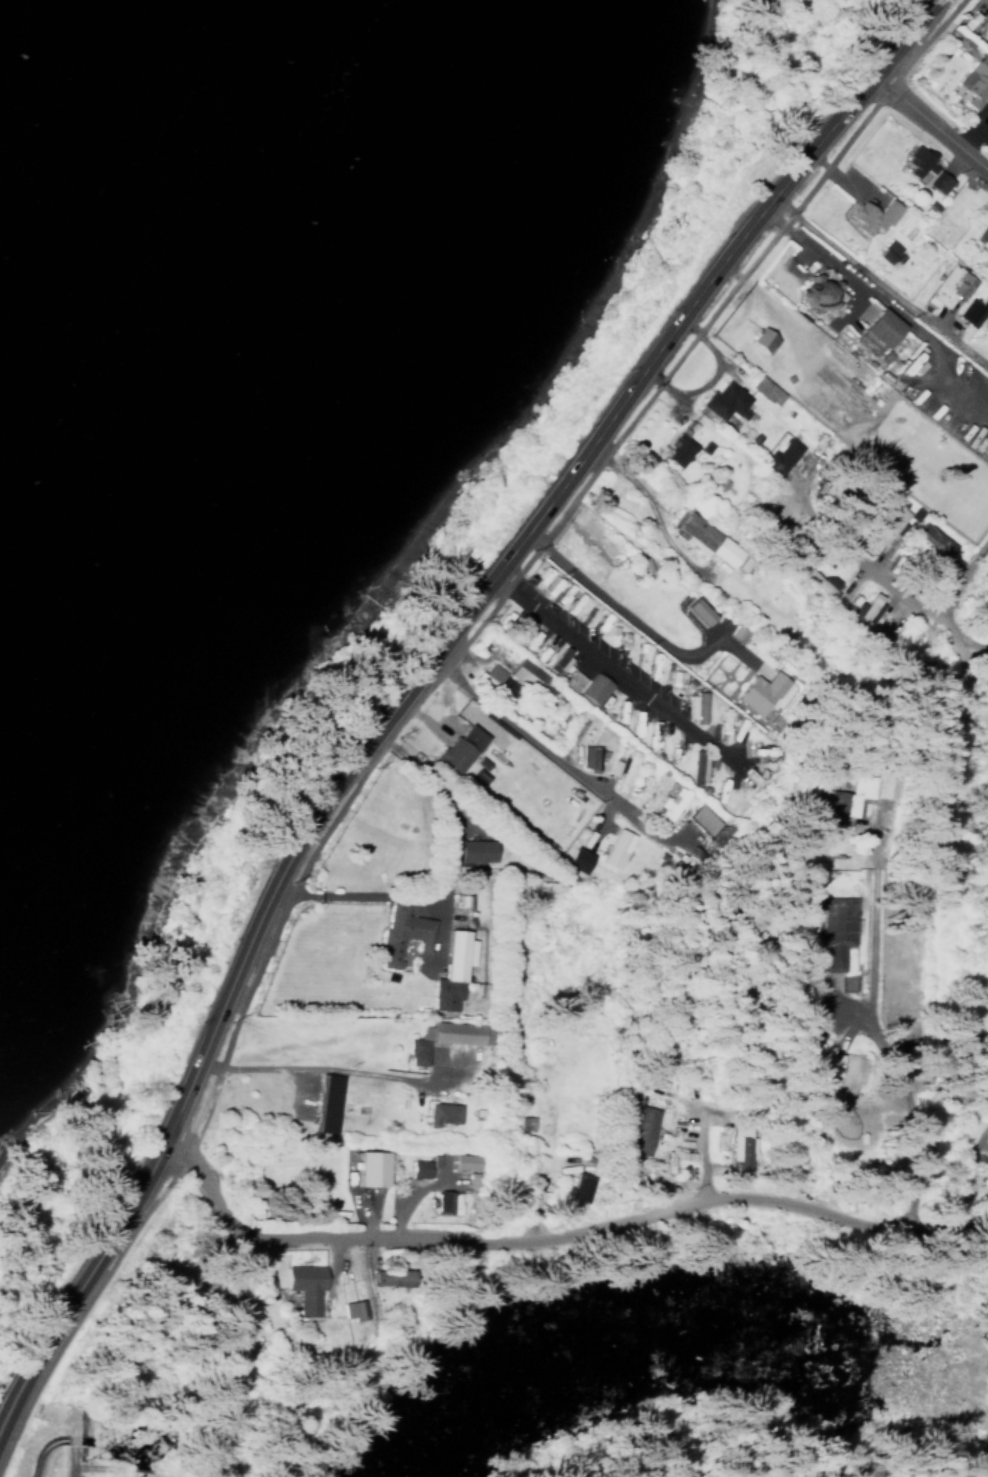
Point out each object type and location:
building: (973, 80)
road: (930, 117)
building: (922, 170)
building: (871, 215)
building: (982, 233)
building: (885, 251)
road: (878, 282)
building: (946, 287)
building: (969, 311)
building: (874, 332)
building: (760, 339)
building: (763, 390)
building: (721, 401)
building: (675, 447)
building: (778, 457)
road: (652, 506)
building: (888, 522)
building: (933, 538)
building: (703, 541)
building: (821, 583)
building: (863, 608)
road: (631, 615)
building: (556, 662)
road: (617, 669)
building: (523, 674)
road: (412, 678)
building: (570, 681)
building: (493, 684)
building: (591, 689)
building: (758, 693)
building: (692, 707)
road: (528, 732)
building: (458, 748)
building: (584, 757)
building: (697, 765)
building: (620, 770)
building: (668, 804)
building: (615, 848)
building: (472, 849)
building: (575, 858)
road: (358, 891)
building: (832, 930)
building: (399, 933)
building: (448, 969)
building: (455, 1032)
building: (414, 1048)
road: (310, 1062)
building: (844, 1076)
road: (911, 1078)
building: (324, 1103)
building: (823, 1103)
building: (439, 1113)
building: (524, 1123)
building: (638, 1129)
building: (739, 1146)
building: (674, 1154)
building: (460, 1161)
building: (366, 1167)
building: (417, 1168)
building: (575, 1186)
building: (442, 1202)
road: (557, 1230)
building: (387, 1276)
building: (301, 1287)
building: (348, 1308)
dam: (79, 1473)

